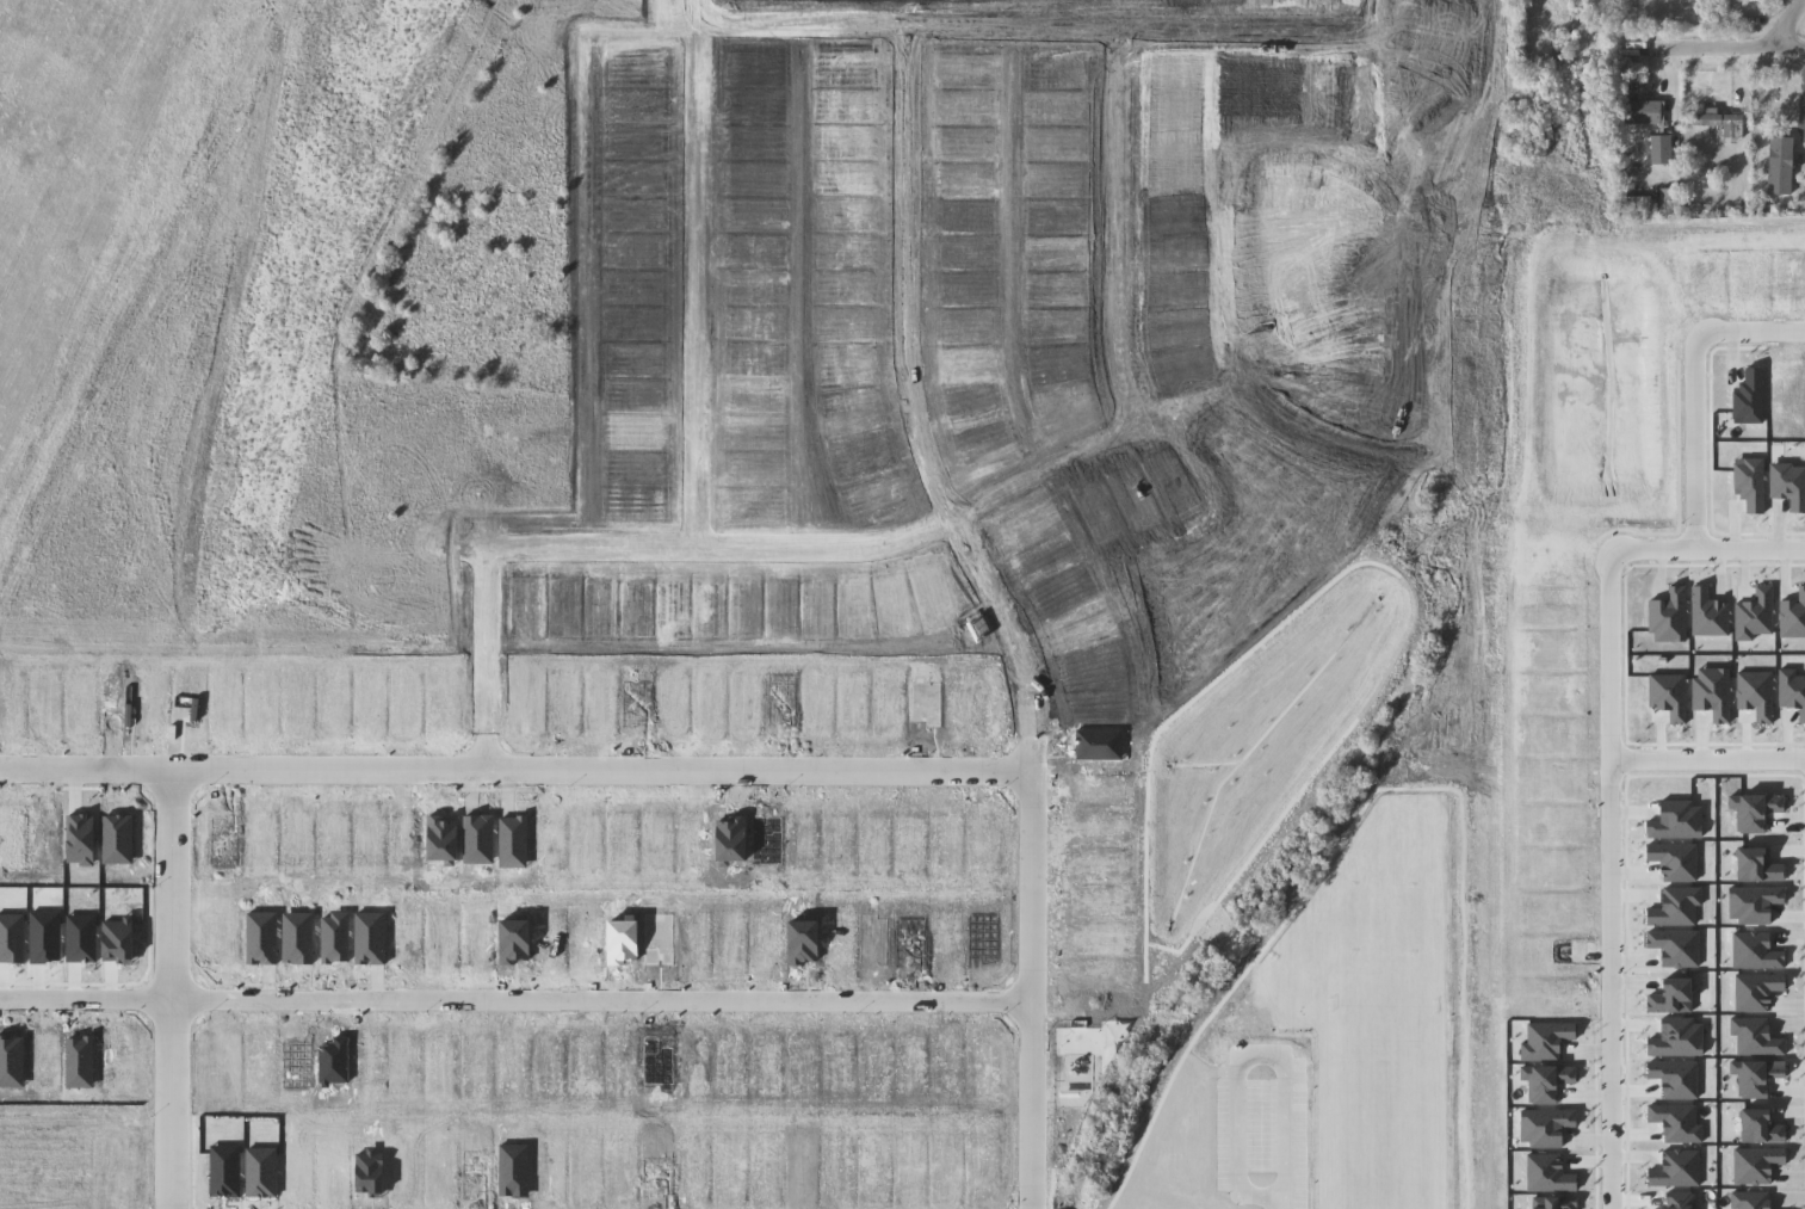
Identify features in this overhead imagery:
road: (1373, 18)
road: (1784, 24)
road: (676, 30)
road: (1736, 47)
road: (1738, 81)
road: (1667, 88)
building: (1642, 112)
building: (1721, 125)
building: (1780, 132)
building: (1662, 150)
building: (1670, 199)
building: (1636, 205)
road: (1112, 223)
road: (681, 273)
road: (256, 298)
road: (126, 364)
road: (1692, 383)
road: (486, 403)
road: (581, 548)
road: (1702, 548)
road: (997, 612)
road: (1704, 758)
road: (513, 771)
road: (1603, 880)
park: (1325, 986)
road: (171, 988)
road: (513, 994)
road: (1242, 1065)
parking lot: (1260, 1125)
road: (1279, 1203)

